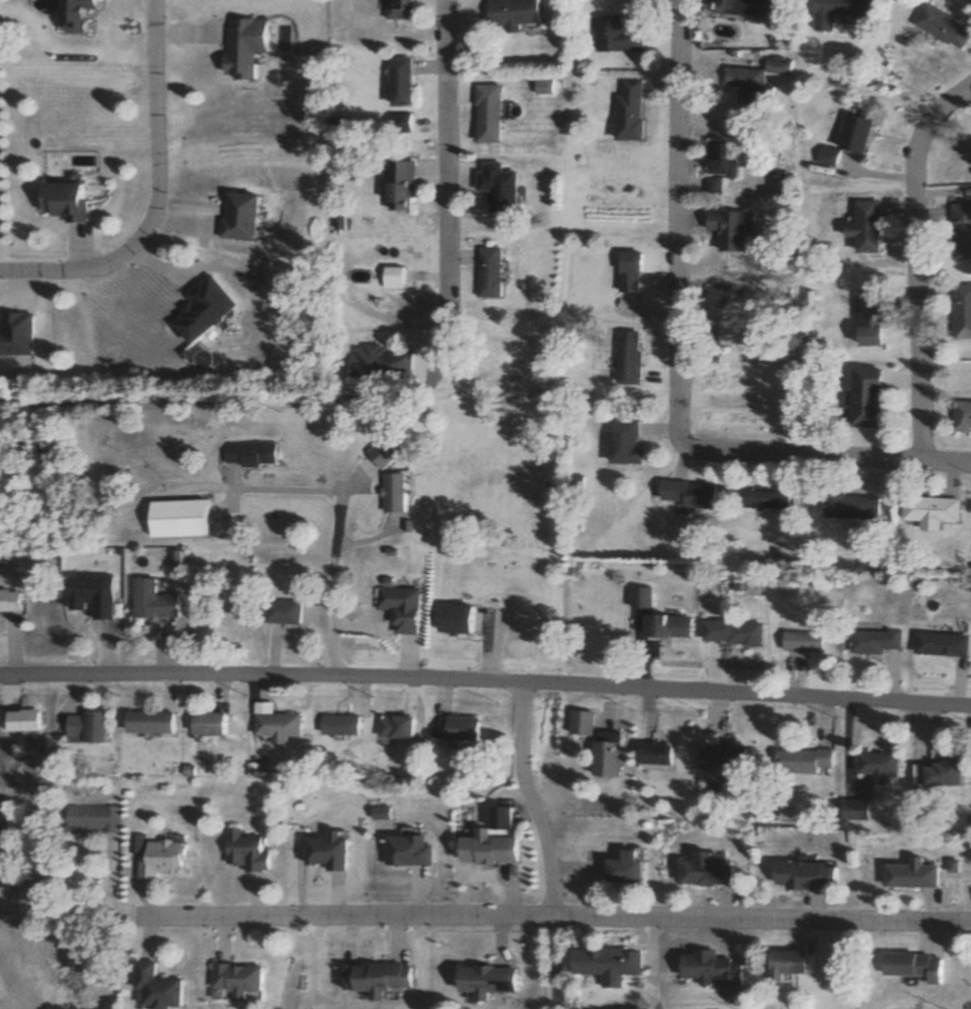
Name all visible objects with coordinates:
building: (744, 8)
building: (840, 8)
building: (398, 10)
building: (76, 15)
building: (512, 15)
building: (938, 28)
building: (615, 37)
building: (243, 47)
building: (756, 81)
building: (400, 83)
building: (628, 112)
building: (487, 115)
building: (848, 140)
building: (720, 165)
road: (444, 166)
building: (400, 186)
road: (154, 194)
building: (61, 202)
building: (238, 217)
building: (866, 228)
building: (731, 230)
building: (961, 230)
road: (914, 259)
building: (488, 273)
building: (630, 273)
building: (391, 277)
building: (962, 313)
building: (725, 314)
building: (873, 322)
building: (15, 335)
building: (629, 359)
building: (380, 363)
road: (678, 366)
building: (866, 399)
building: (962, 417)
building: (625, 441)
building: (248, 453)
building: (393, 492)
building: (689, 495)
building: (764, 499)
building: (850, 506)
road: (338, 507)
building: (929, 512)
building: (176, 518)
building: (89, 588)
building: (641, 598)
building: (9, 602)
building: (151, 602)
building: (399, 608)
building: (282, 612)
building: (454, 619)
building: (667, 627)
building: (732, 632)
building: (802, 642)
building: (875, 642)
building: (940, 644)
road: (485, 682)
building: (23, 721)
building: (149, 722)
building: (276, 723)
building: (581, 723)
building: (208, 724)
building: (340, 725)
building: (395, 727)
building: (85, 728)
building: (459, 729)
building: (607, 754)
building: (656, 756)
building: (802, 761)
building: (724, 762)
building: (878, 766)
building: (937, 774)
road: (533, 800)
building: (855, 811)
building: (90, 817)
building: (492, 842)
building: (244, 851)
building: (327, 851)
building: (409, 851)
building: (157, 859)
building: (626, 867)
building: (705, 871)
building: (911, 875)
building: (804, 876)
road: (51, 916)
road: (560, 916)
road: (556, 962)
building: (786, 964)
building: (607, 965)
building: (913, 966)
building: (710, 970)
building: (237, 979)
building: (380, 979)
building: (485, 981)
building: (156, 988)

